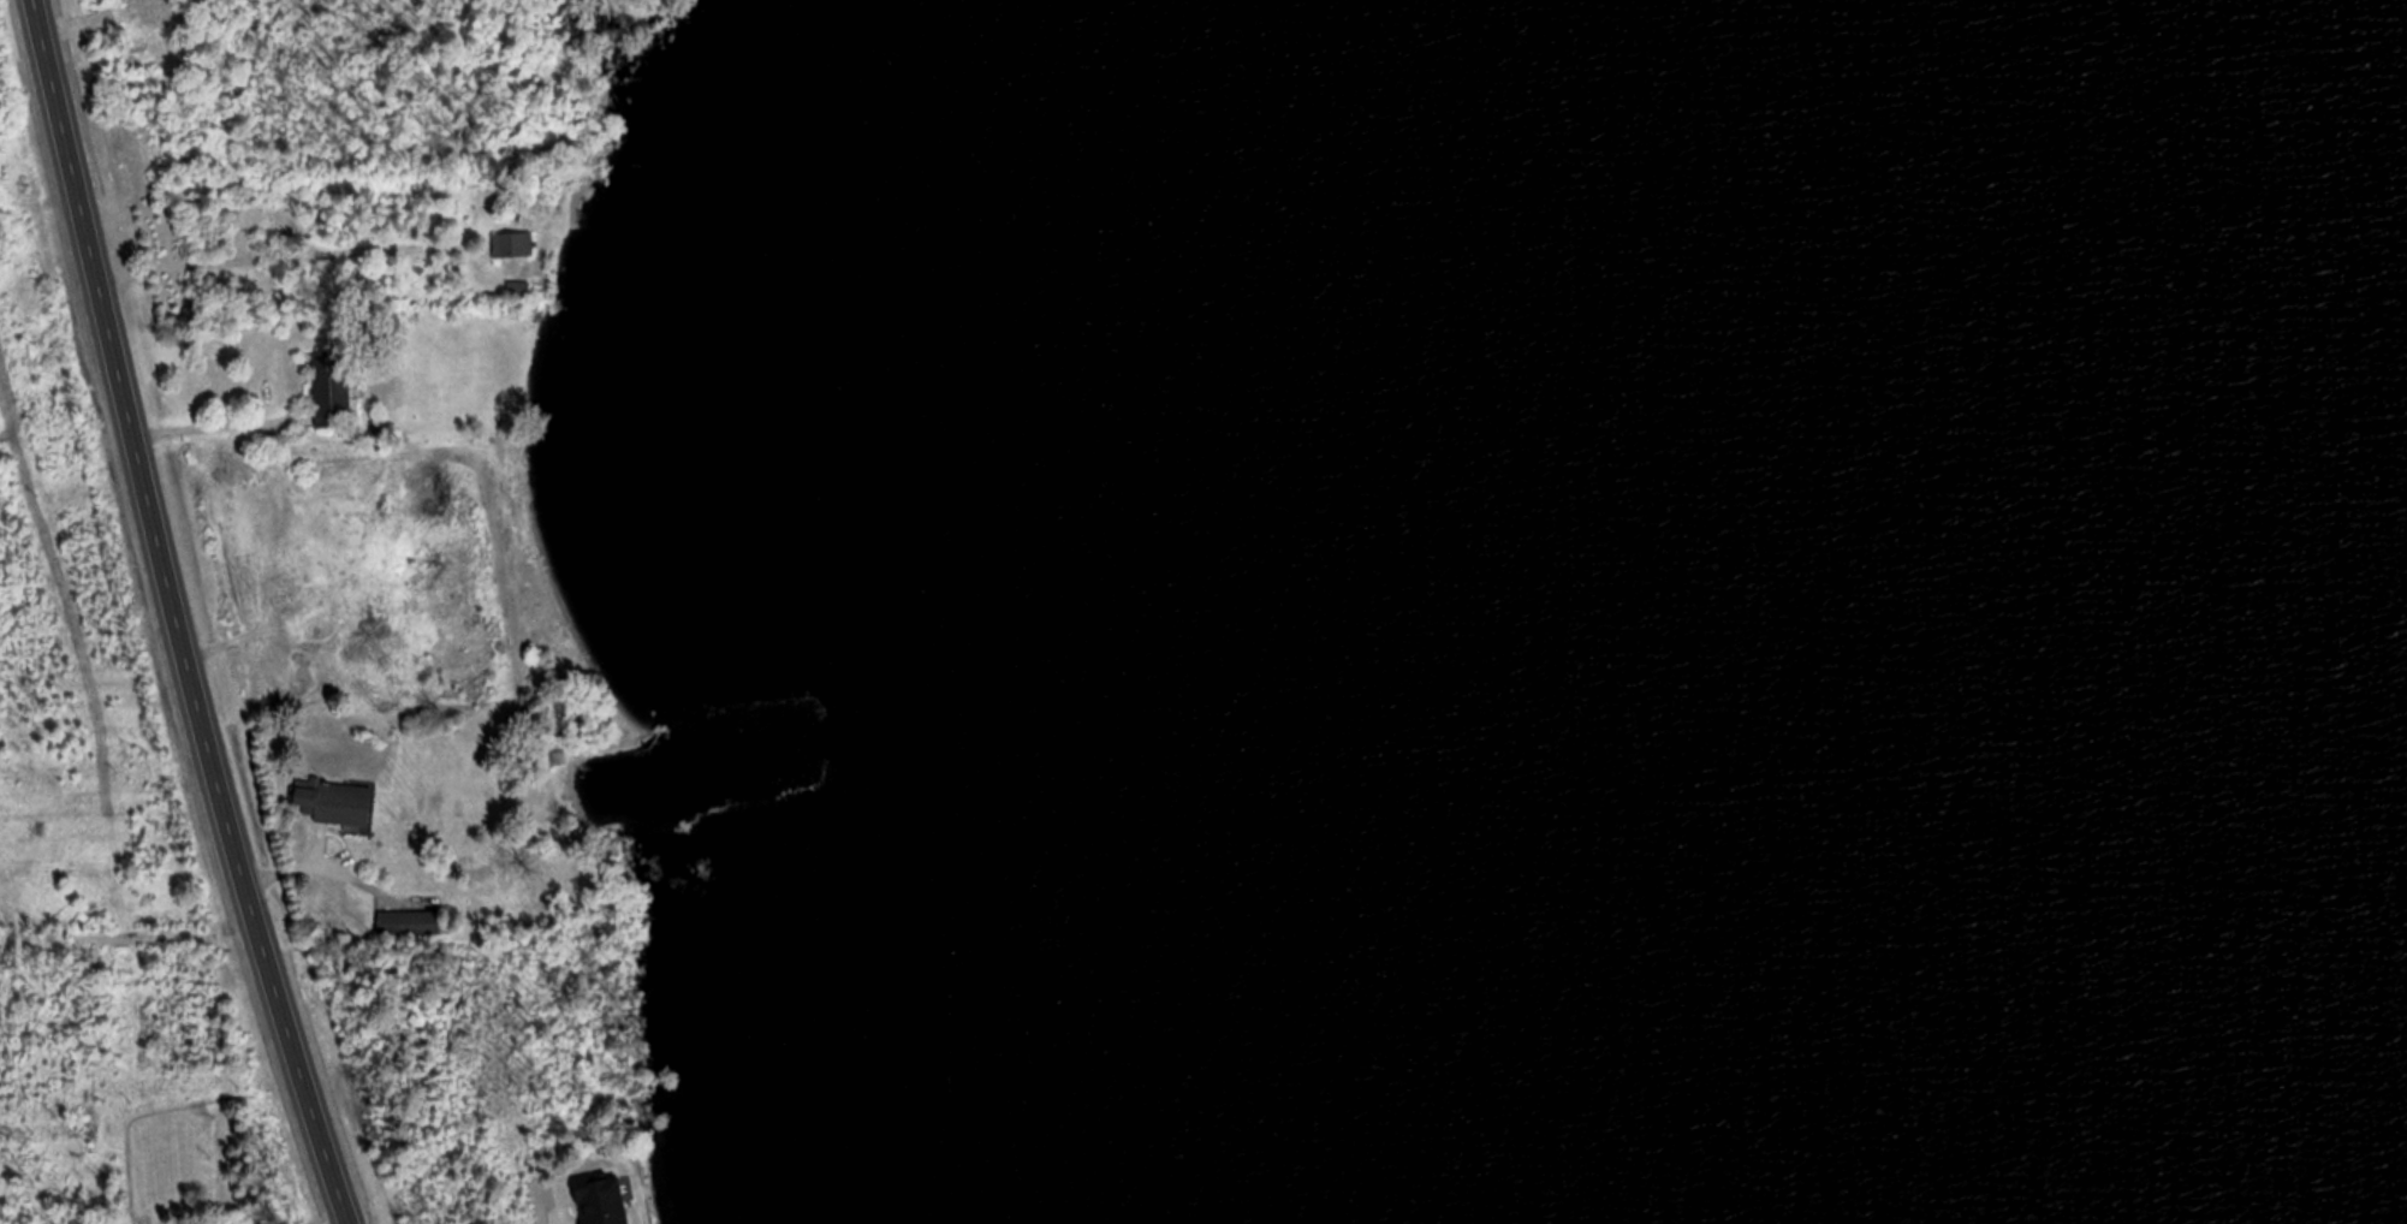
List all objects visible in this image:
building: (516, 245)
building: (524, 286)
building: (334, 391)
road: (179, 614)
building: (337, 802)
building: (411, 925)
road: (126, 937)

